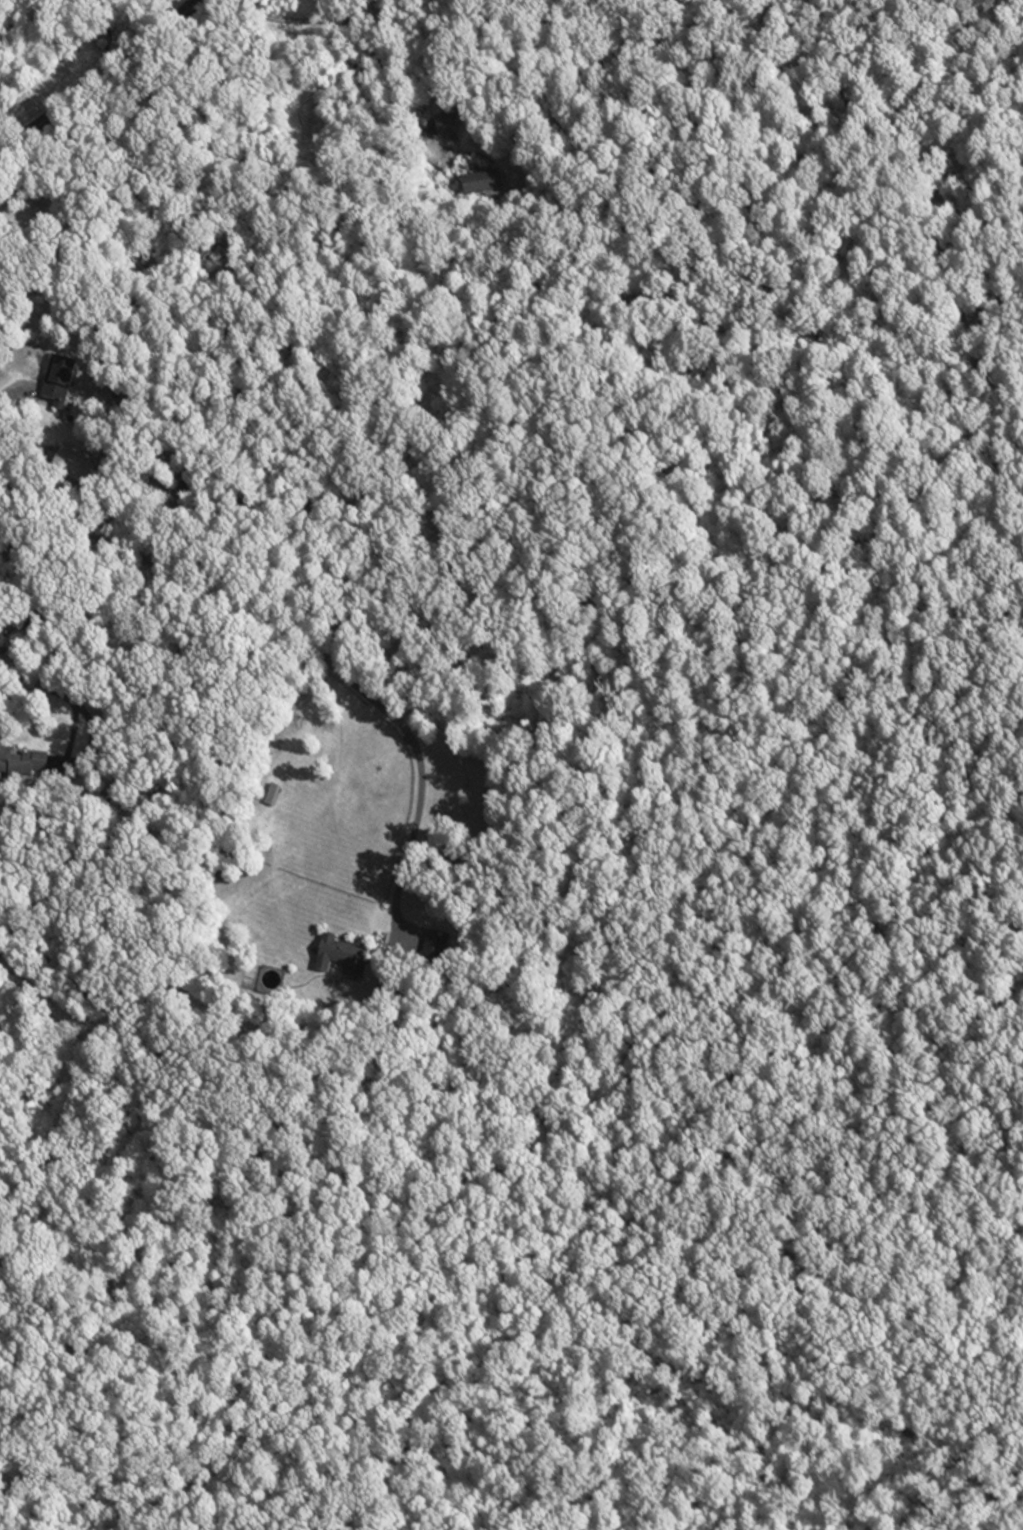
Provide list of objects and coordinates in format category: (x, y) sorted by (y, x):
road: (374, 35)
road: (100, 77)
building: (484, 184)
road: (15, 379)
building: (59, 380)
road: (300, 642)
road: (35, 681)
road: (91, 726)
road: (71, 735)
road: (161, 742)
building: (8, 766)
building: (272, 797)
building: (434, 948)
building: (339, 956)
road: (89, 1025)

